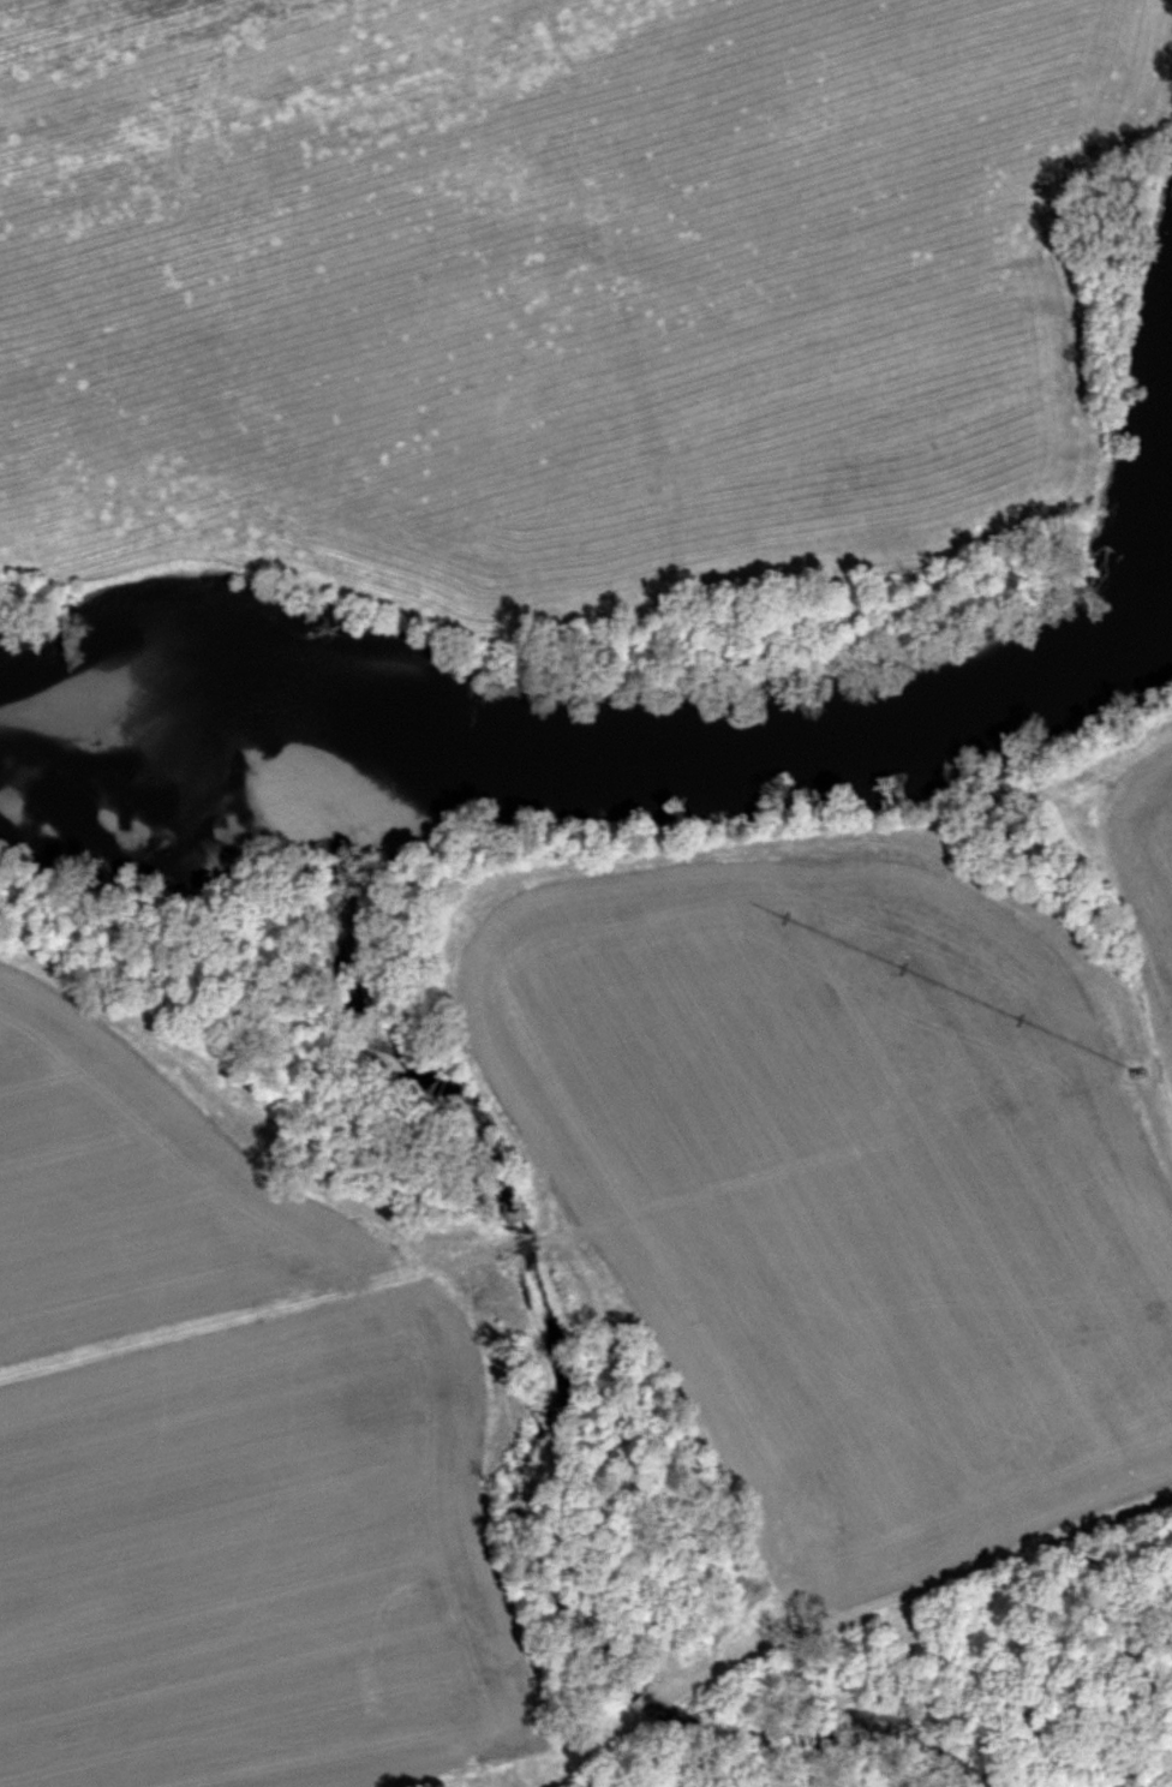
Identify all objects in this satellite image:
crop: (554, 276)
river: (587, 765)
crop: (1138, 815)
crop: (829, 1166)
crop: (234, 1447)
road: (920, 1597)

